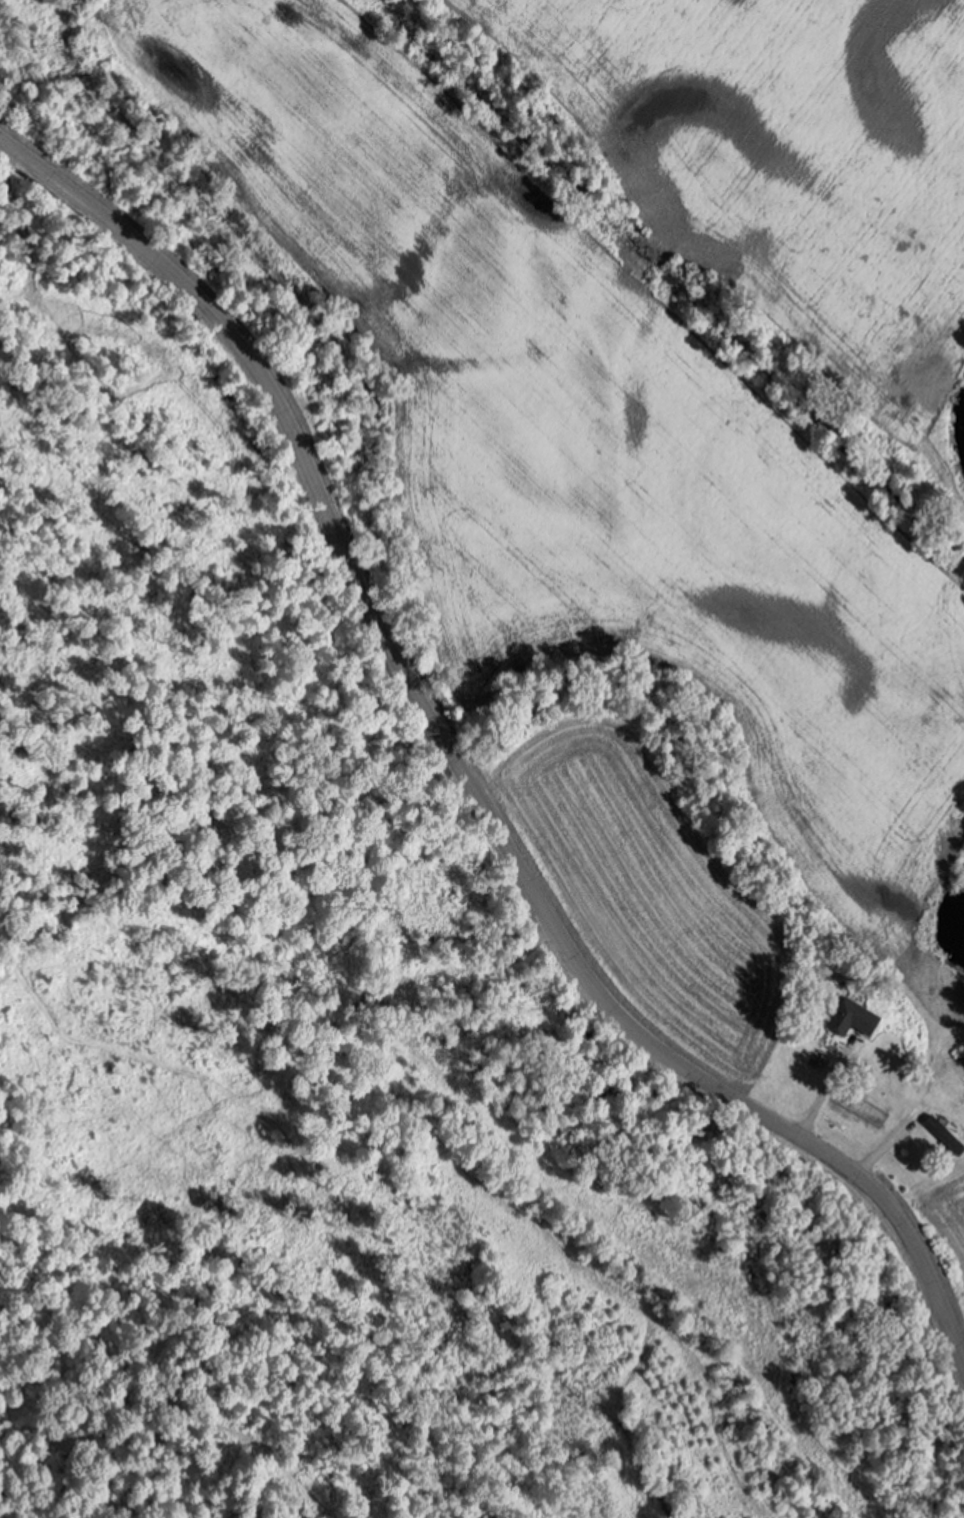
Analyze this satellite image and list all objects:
road: (460, 769)
building: (849, 1017)
building: (942, 1135)

